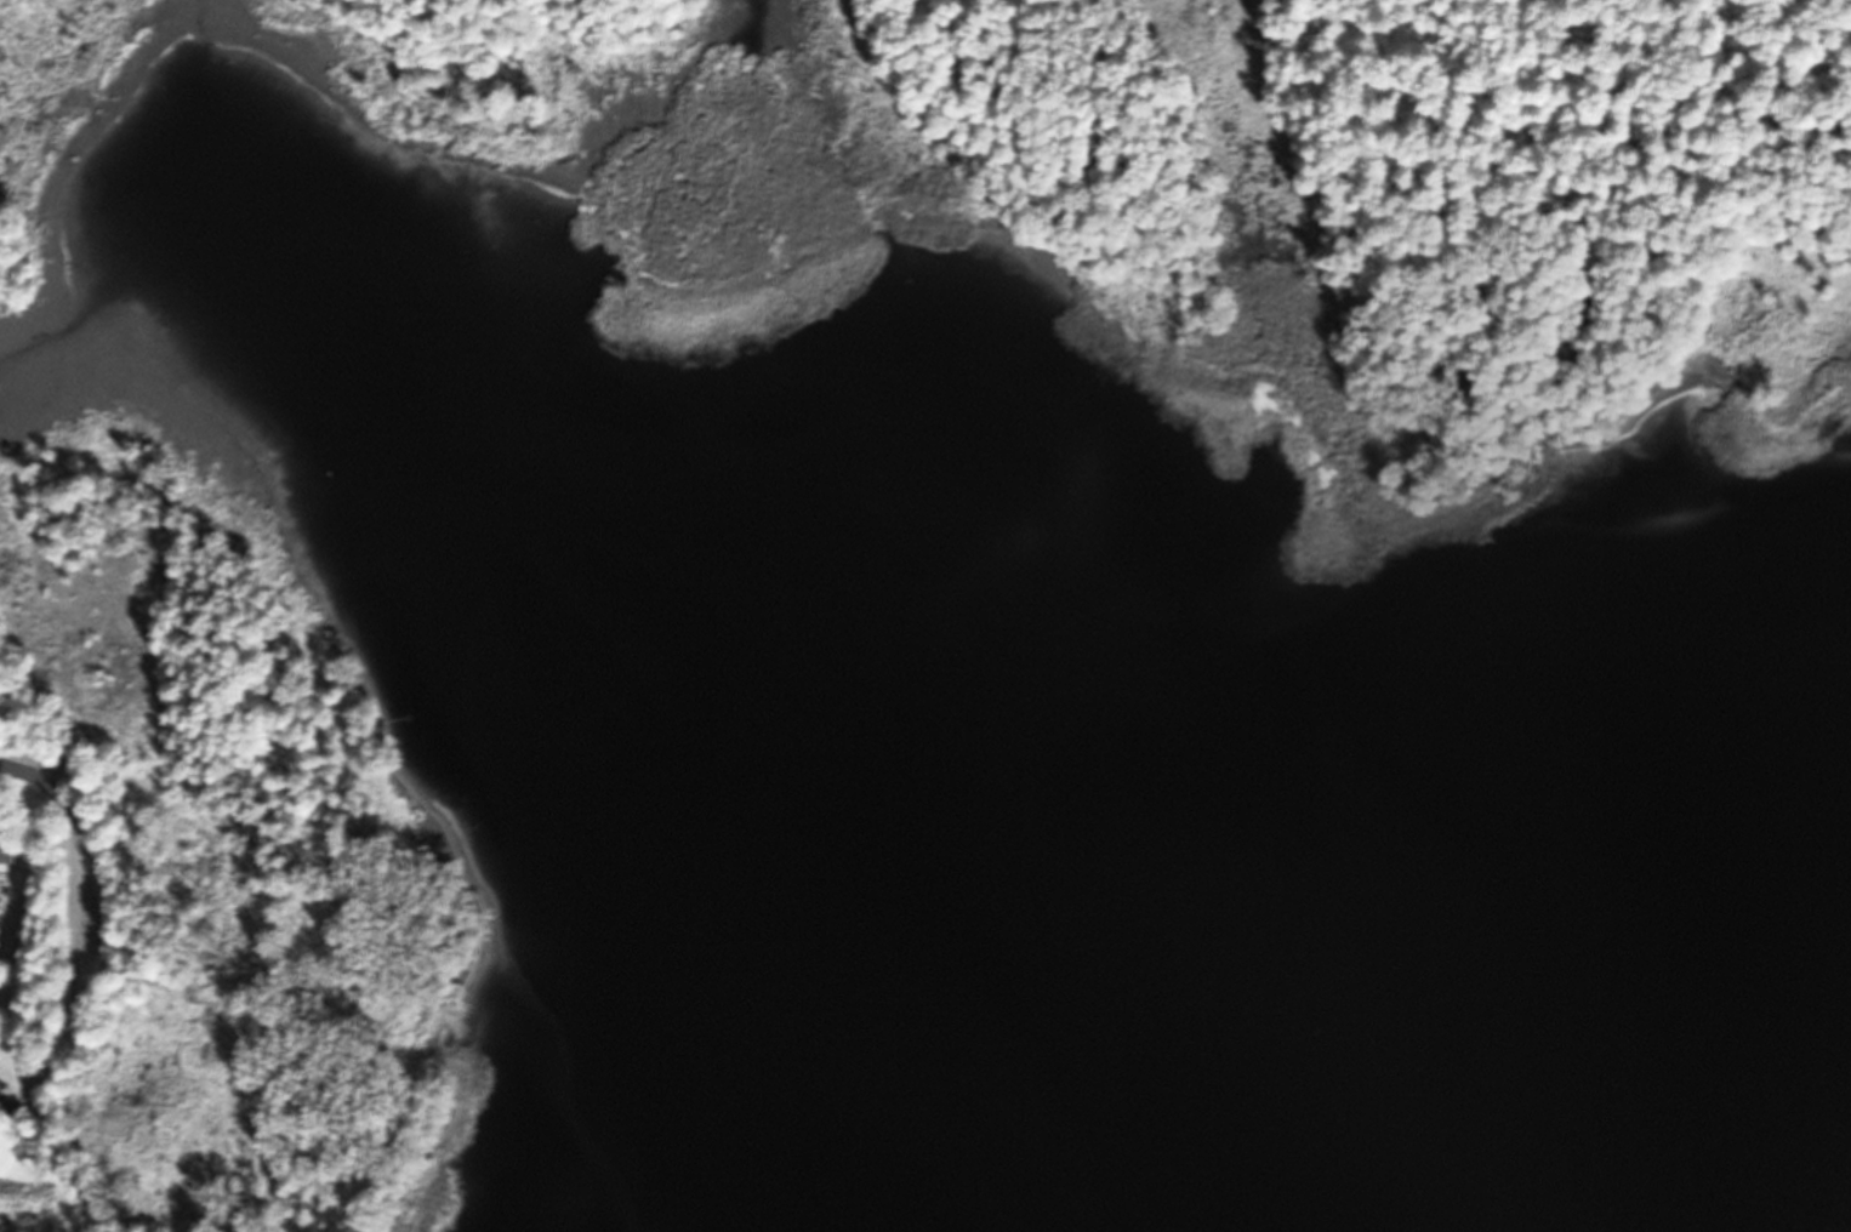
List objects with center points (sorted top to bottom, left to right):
road: (4, 764)
building: (7, 851)

